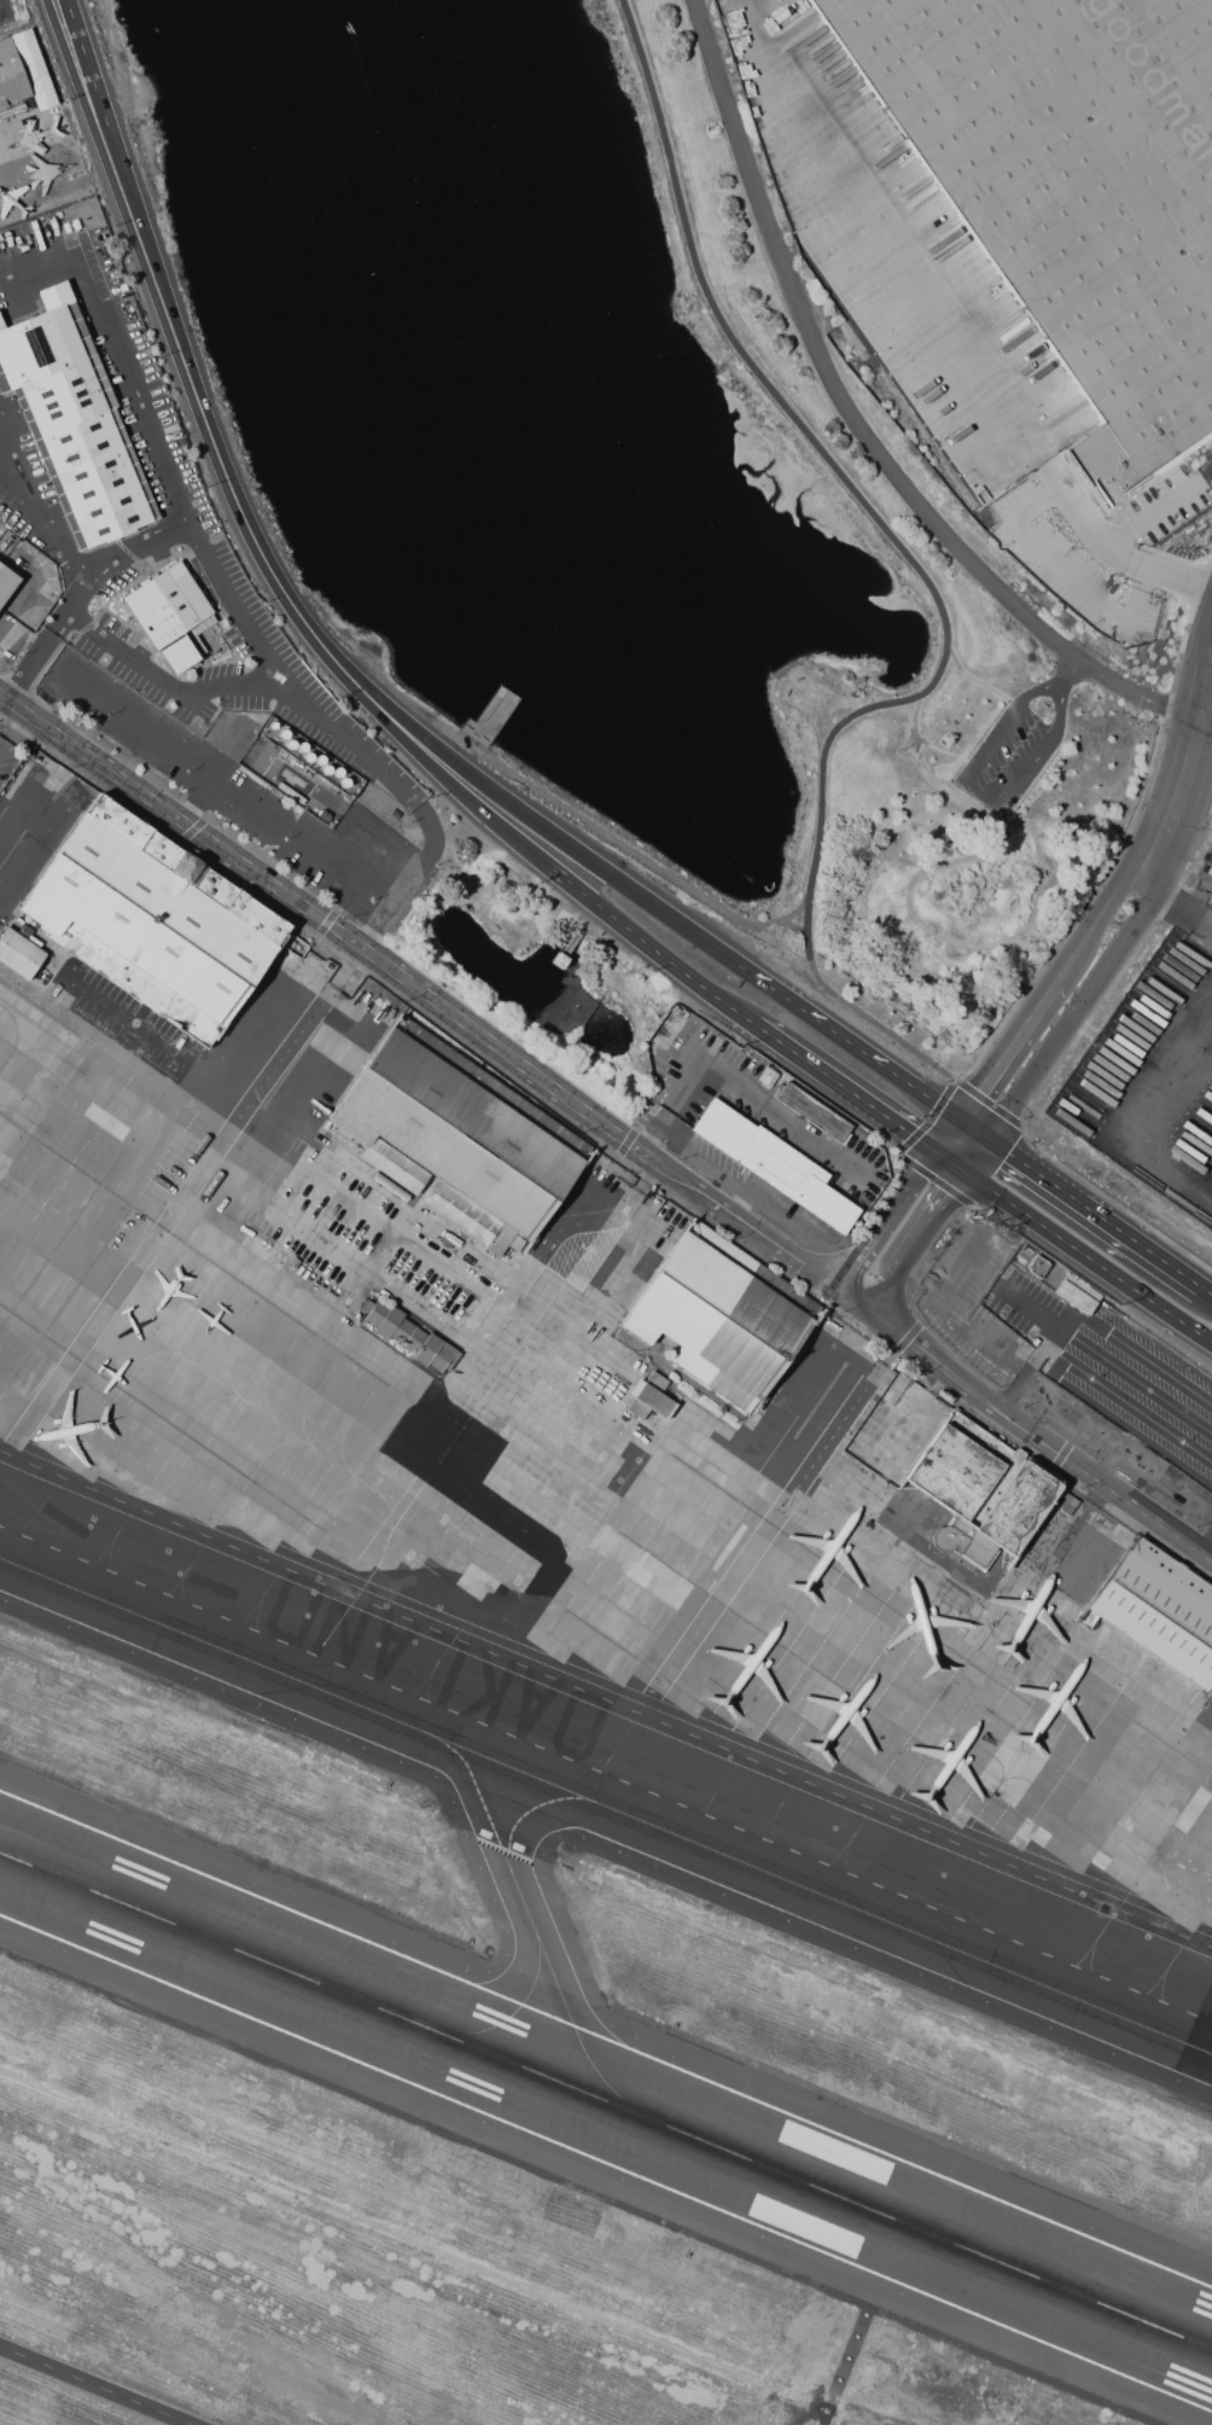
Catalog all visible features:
park: (606, 5)
road: (7, 31)
road: (82, 63)
building: (22, 72)
road: (11, 188)
building: (1068, 191)
road: (888, 250)
parking lot: (942, 328)
road: (120, 349)
building: (71, 418)
road: (861, 428)
road: (212, 434)
road: (10, 464)
road: (1149, 514)
road: (1036, 546)
road: (1119, 559)
road: (919, 572)
road: (80, 582)
building: (7, 583)
building: (170, 613)
road: (263, 652)
road: (1073, 674)
road: (978, 681)
road: (10, 716)
pier: (490, 719)
parking lot: (1018, 746)
road: (4, 748)
road: (1194, 770)
road: (217, 777)
road: (461, 790)
road: (980, 795)
road: (420, 815)
road: (1016, 819)
road: (596, 827)
road: (1013, 827)
road: (558, 837)
road: (1019, 873)
parking lot: (1199, 908)
road: (1178, 911)
road: (1205, 913)
road: (1106, 914)
building: (155, 919)
road: (793, 926)
road: (1205, 929)
road: (933, 932)
road: (646, 942)
building: (19, 952)
road: (1076, 1016)
road: (1094, 1034)
road: (850, 1042)
road: (1010, 1053)
road: (1163, 1060)
building: (768, 1076)
parking lot: (1153, 1076)
road: (1091, 1084)
road: (843, 1087)
road: (220, 1092)
road: (753, 1098)
road: (985, 1100)
building: (814, 1111)
road: (1181, 1116)
road: (927, 1120)
road: (604, 1126)
building: (460, 1127)
road: (977, 1132)
road: (655, 1133)
road: (952, 1138)
road: (703, 1156)
building: (775, 1163)
building: (395, 1164)
road: (955, 1164)
road: (261, 1165)
road: (1201, 1173)
road: (934, 1180)
road: (1096, 1214)
building: (467, 1217)
road: (934, 1220)
road: (892, 1225)
road: (575, 1227)
road: (454, 1239)
building: (515, 1244)
road: (144, 1251)
road: (1089, 1257)
building: (1038, 1267)
road: (451, 1272)
road: (1206, 1290)
road: (886, 1291)
building: (1078, 1293)
road: (395, 1295)
road: (1026, 1308)
road: (946, 1315)
building: (721, 1316)
road: (1062, 1318)
road: (490, 1331)
building: (404, 1333)
road: (1039, 1349)
road: (1141, 1356)
road: (1135, 1377)
building: (657, 1382)
road: (1010, 1390)
building: (653, 1400)
road: (1127, 1403)
building: (637, 1408)
road: (1118, 1438)
airport apron: (547, 1440)
building: (980, 1489)
airport: (525, 1600)
building: (1159, 1610)
road: (607, 1700)
helipad: (590, 1785)
airport taxiway: (605, 1807)
airport taxiway: (532, 1814)
airport taxiway: (538, 1932)
airport taxiway: (515, 2010)
airport runway: (605, 2101)
road: (103, 2382)

